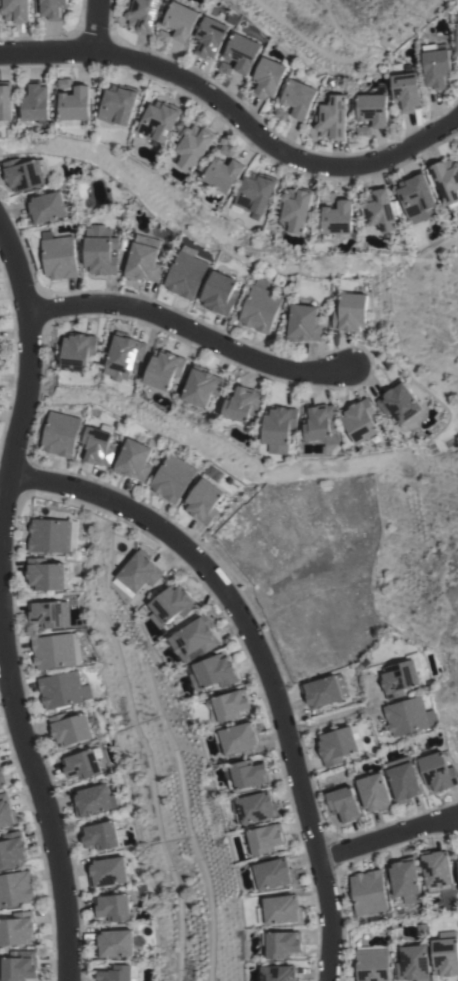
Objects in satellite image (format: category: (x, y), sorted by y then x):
building: (53, 9)
building: (15, 10)
building: (142, 14)
building: (457, 17)
building: (181, 20)
road: (95, 25)
building: (210, 37)
building: (457, 37)
building: (243, 52)
building: (436, 66)
building: (268, 78)
building: (406, 90)
building: (299, 97)
building: (36, 101)
building: (5, 103)
building: (75, 106)
building: (118, 106)
building: (373, 109)
road: (234, 114)
building: (280, 114)
building: (332, 118)
building: (160, 120)
building: (194, 145)
building: (228, 151)
building: (25, 173)
building: (225, 173)
building: (446, 179)
building: (257, 192)
building: (329, 196)
building: (416, 197)
building: (47, 207)
building: (296, 208)
building: (379, 208)
building: (338, 219)
building: (100, 250)
building: (59, 257)
building: (143, 262)
building: (186, 274)
building: (219, 292)
building: (260, 306)
building: (350, 312)
building: (304, 323)
road: (192, 331)
building: (78, 351)
building: (125, 355)
building: (165, 368)
road: (27, 380)
building: (202, 385)
building: (242, 402)
building: (398, 402)
building: (360, 420)
building: (321, 423)
building: (280, 428)
building: (60, 432)
building: (97, 444)
road: (5, 456)
building: (133, 459)
building: (172, 477)
building: (203, 501)
building: (53, 535)
building: (141, 571)
building: (45, 574)
building: (174, 603)
building: (46, 613)
building: (195, 639)
building: (56, 650)
road: (262, 659)
building: (214, 672)
building: (402, 675)
building: (62, 689)
building: (325, 690)
building: (228, 706)
building: (409, 716)
road: (339, 717)
building: (70, 728)
building: (239, 737)
building: (338, 744)
building: (82, 763)
building: (437, 769)
building: (248, 773)
building: (1, 776)
road: (34, 778)
building: (404, 781)
building: (374, 792)
building: (95, 798)
building: (344, 803)
building: (255, 807)
building: (7, 811)
building: (100, 835)
building: (265, 838)
road: (387, 839)
building: (13, 849)
building: (457, 858)
building: (437, 870)
building: (107, 871)
building: (272, 873)
building: (405, 879)
building: (16, 888)
building: (369, 891)
building: (112, 907)
building: (281, 909)
building: (18, 928)
building: (421, 930)
building: (115, 943)
building: (283, 943)
building: (445, 956)
building: (372, 963)
building: (413, 963)
building: (21, 966)
building: (118, 972)
building: (280, 973)

